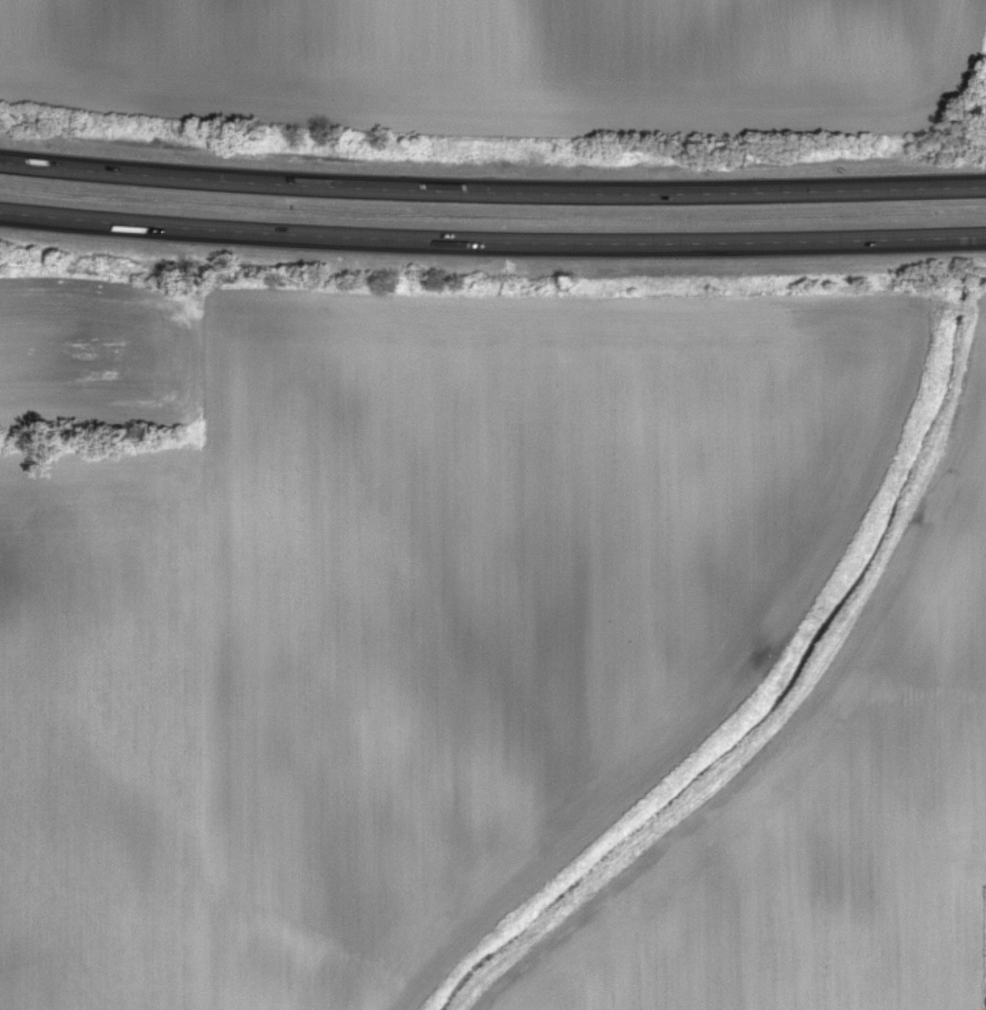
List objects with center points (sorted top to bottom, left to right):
road: (492, 194)
road: (492, 243)

